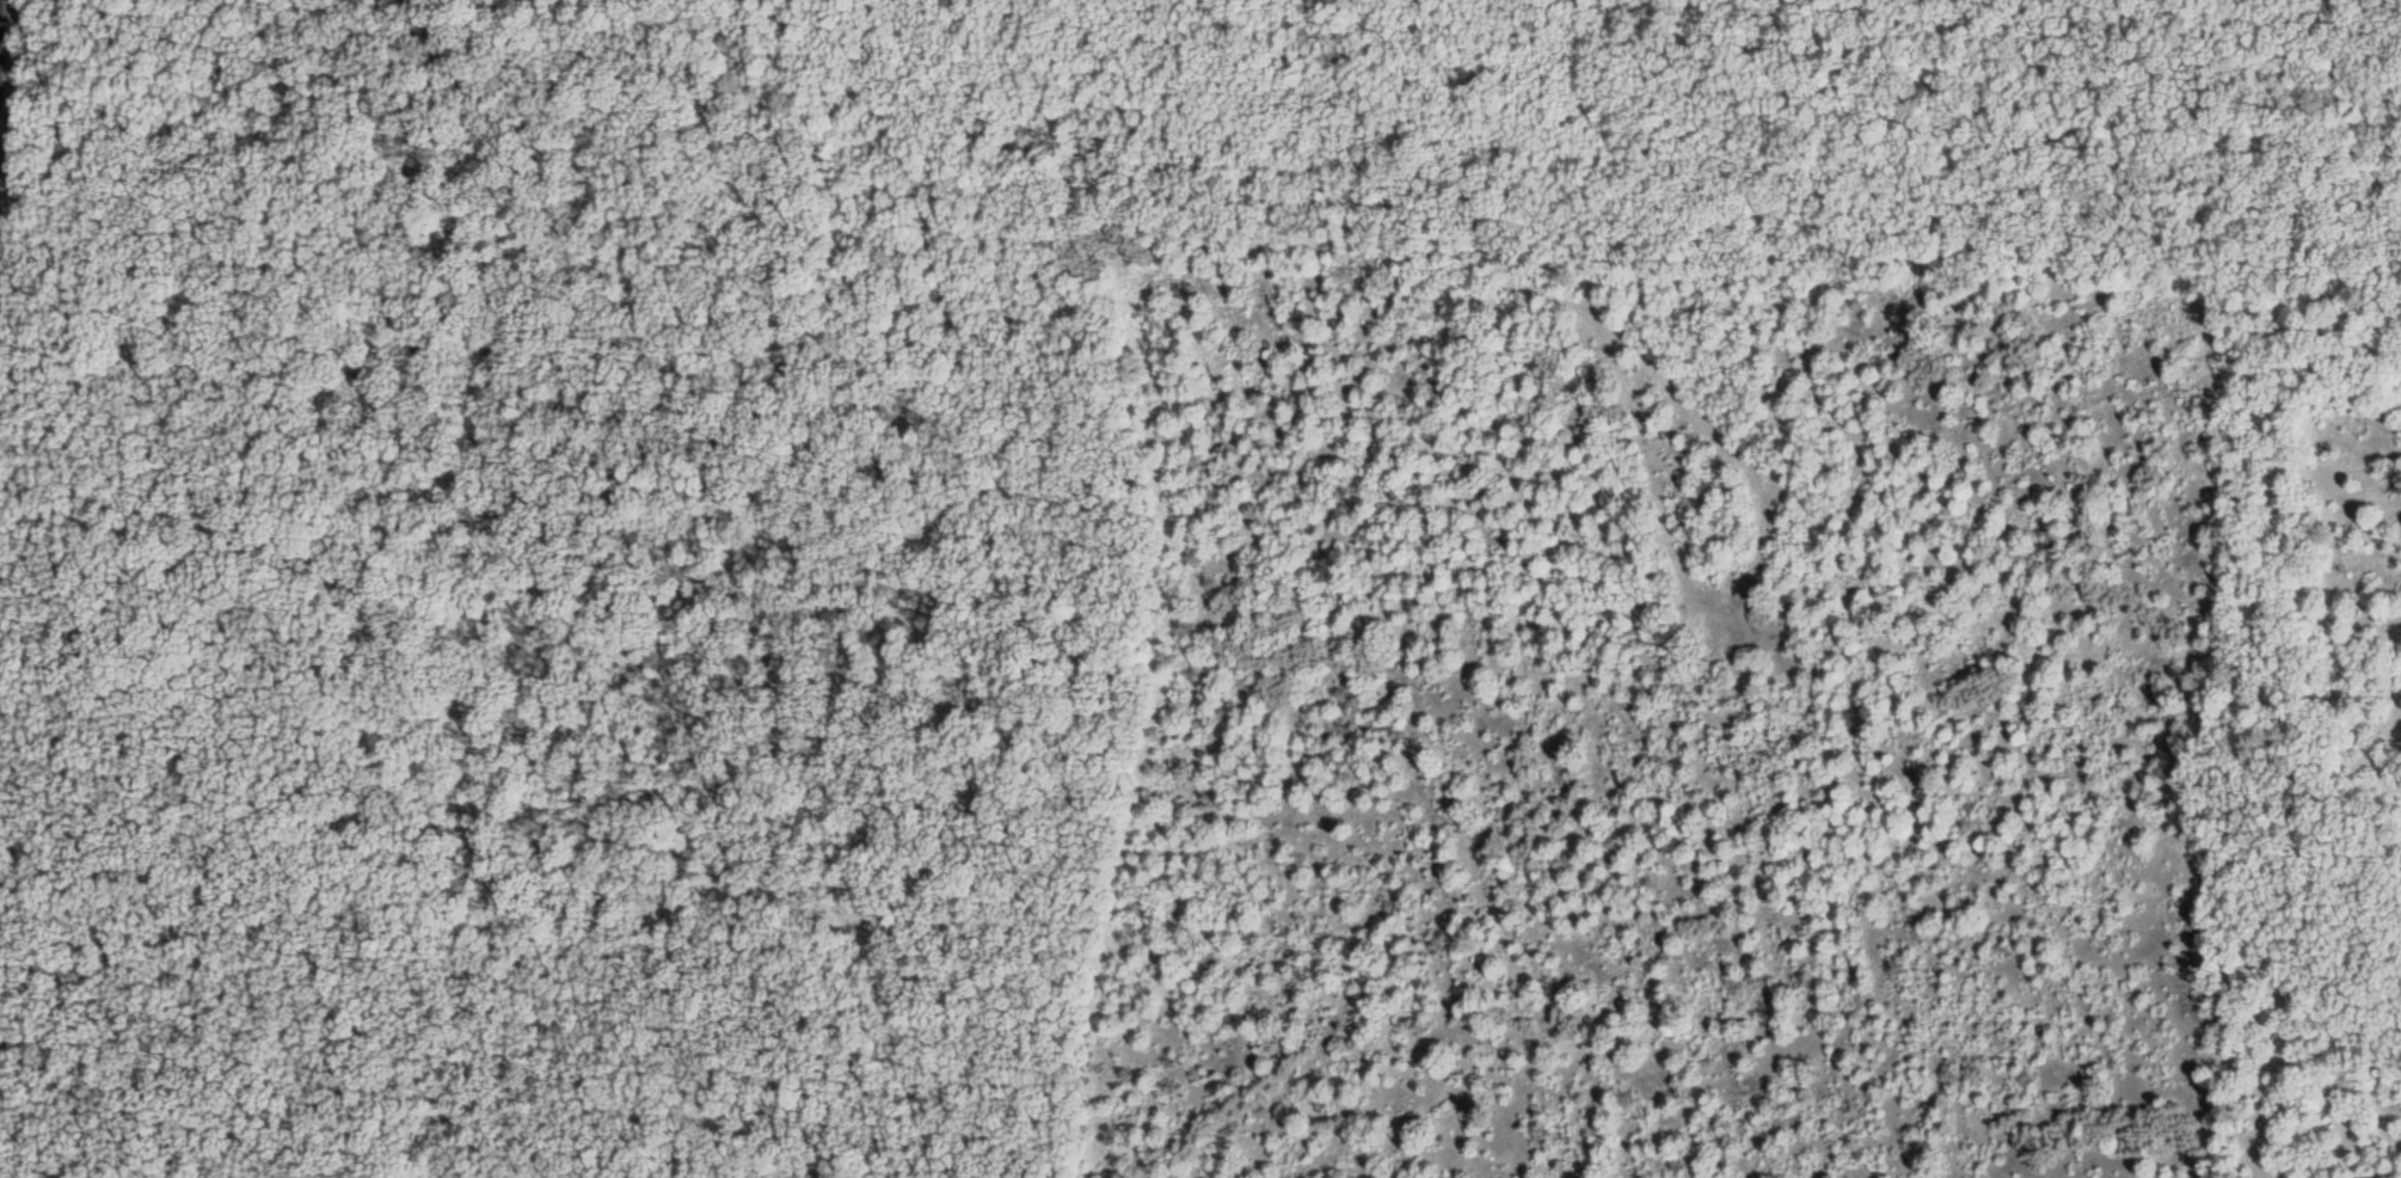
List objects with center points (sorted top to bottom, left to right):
road: (1410, 143)
road: (1733, 583)
road: (732, 589)

